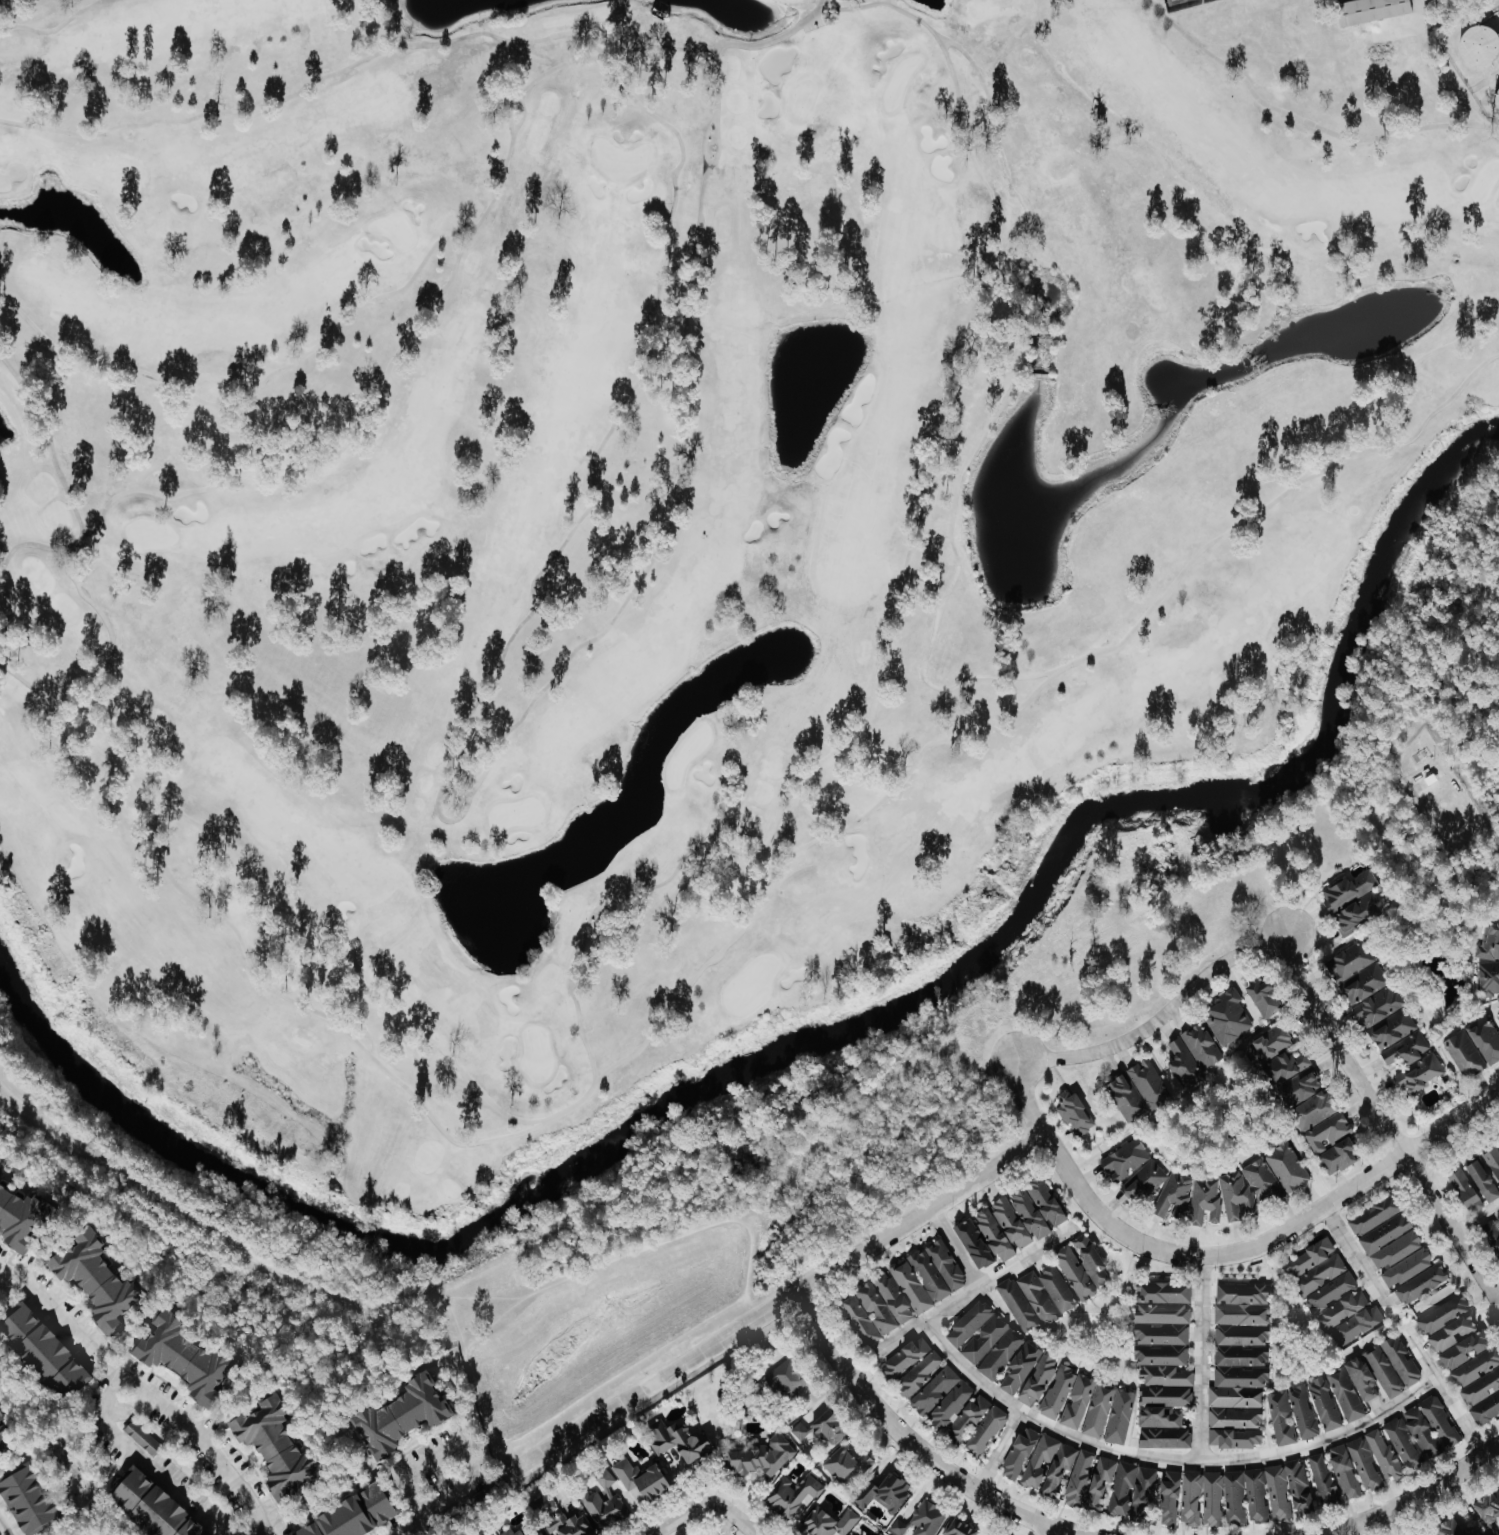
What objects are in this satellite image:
building: (1374, 11)
building: (1482, 48)
road: (1435, 74)
road: (1469, 108)
building: (1352, 889)
building: (1360, 913)
building: (1490, 942)
building: (1360, 972)
building: (1490, 978)
building: (1267, 998)
building: (1381, 1006)
road: (1162, 1017)
building: (1231, 1018)
building: (1396, 1030)
river: (811, 1039)
building: (1487, 1039)
building: (1275, 1042)
building: (1408, 1049)
building: (1195, 1054)
building: (1467, 1054)
building: (1291, 1066)
building: (1423, 1074)
building: (1151, 1083)
building: (1127, 1099)
building: (1314, 1110)
building: (1074, 1113)
park: (1213, 1116)
road: (851, 1120)
road: (1384, 1121)
building: (1338, 1157)
building: (1124, 1160)
building: (1493, 1161)
building: (1286, 1168)
building: (1143, 1181)
building: (1261, 1181)
building: (1482, 1181)
building: (1463, 1189)
building: (1205, 1199)
building: (1037, 1208)
building: (1498, 1215)
building: (1374, 1216)
road: (1477, 1217)
building: (22, 1219)
building: (1002, 1229)
building: (1492, 1238)
building: (1390, 1242)
building: (974, 1244)
road: (955, 1248)
road: (1225, 1255)
building: (945, 1264)
building: (1082, 1268)
building: (1406, 1268)
building: (928, 1276)
building: (99, 1281)
building: (1420, 1284)
building: (910, 1287)
road: (380, 1288)
road: (973, 1290)
building: (1331, 1293)
building: (1046, 1294)
building: (893, 1298)
road: (775, 1304)
building: (1016, 1305)
building: (868, 1314)
building: (1442, 1314)
road: (1404, 1332)
building: (1161, 1333)
building: (1452, 1333)
building: (985, 1340)
building: (1463, 1350)
building: (43, 1351)
building: (1239, 1356)
building: (906, 1357)
building: (187, 1359)
road: (1200, 1361)
building: (1400, 1361)
building: (919, 1373)
building: (1372, 1375)
building: (785, 1379)
building: (1479, 1384)
road: (143, 1394)
building: (1345, 1395)
building: (1068, 1396)
building: (941, 1398)
building: (1323, 1405)
building: (1162, 1406)
road: (533, 1408)
building: (1302, 1412)
building: (403, 1416)
building: (968, 1417)
building: (1280, 1418)
building: (1438, 1421)
building: (830, 1428)
building: (986, 1431)
building: (798, 1432)
building: (1421, 1433)
building: (142, 1438)
building: (1164, 1438)
building: (4, 1439)
building: (1234, 1439)
building: (678, 1442)
road: (910, 1442)
building: (1403, 1445)
building: (277, 1448)
road: (462, 1448)
road: (996, 1452)
building: (1019, 1454)
building: (761, 1457)
building: (1384, 1457)
road: (1165, 1461)
building: (845, 1464)
road: (144, 1465)
building: (1363, 1465)
building: (1060, 1466)
building: (1344, 1473)
building: (1101, 1475)
building: (1079, 1478)
building: (640, 1481)
building: (1323, 1481)
building: (1121, 1489)
building: (1287, 1490)
building: (884, 1493)
building: (1141, 1493)
building: (792, 1495)
road: (1420, 1496)
building: (1244, 1497)
building: (1168, 1498)
building: (1190, 1499)
building: (1212, 1499)
building: (28, 1500)
road: (704, 1502)
building: (603, 1503)
building: (152, 1507)
building: (1488, 1508)
building: (354, 1516)
building: (559, 1519)
building: (926, 1519)
building: (828, 1523)
road: (7, 1524)
building: (898, 1527)
road: (410, 1528)
building: (958, 1528)
building: (1453, 1529)
road: (1049, 1531)
building: (510, 1533)
building: (539, 1534)
building: (1430, 1534)

